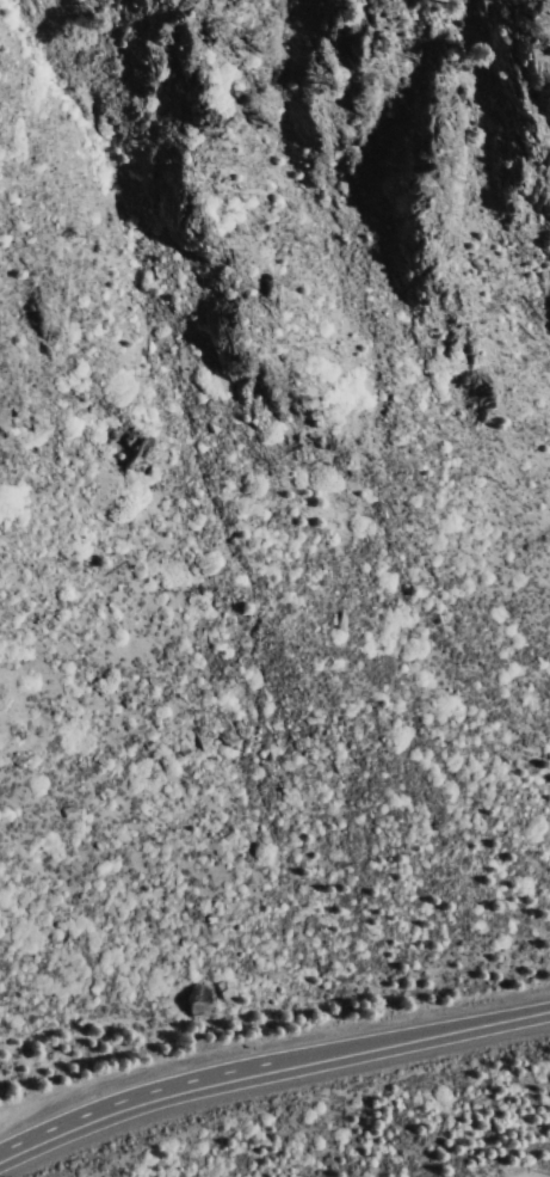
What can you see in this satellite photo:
road: (378, 1047)
road: (101, 1117)

